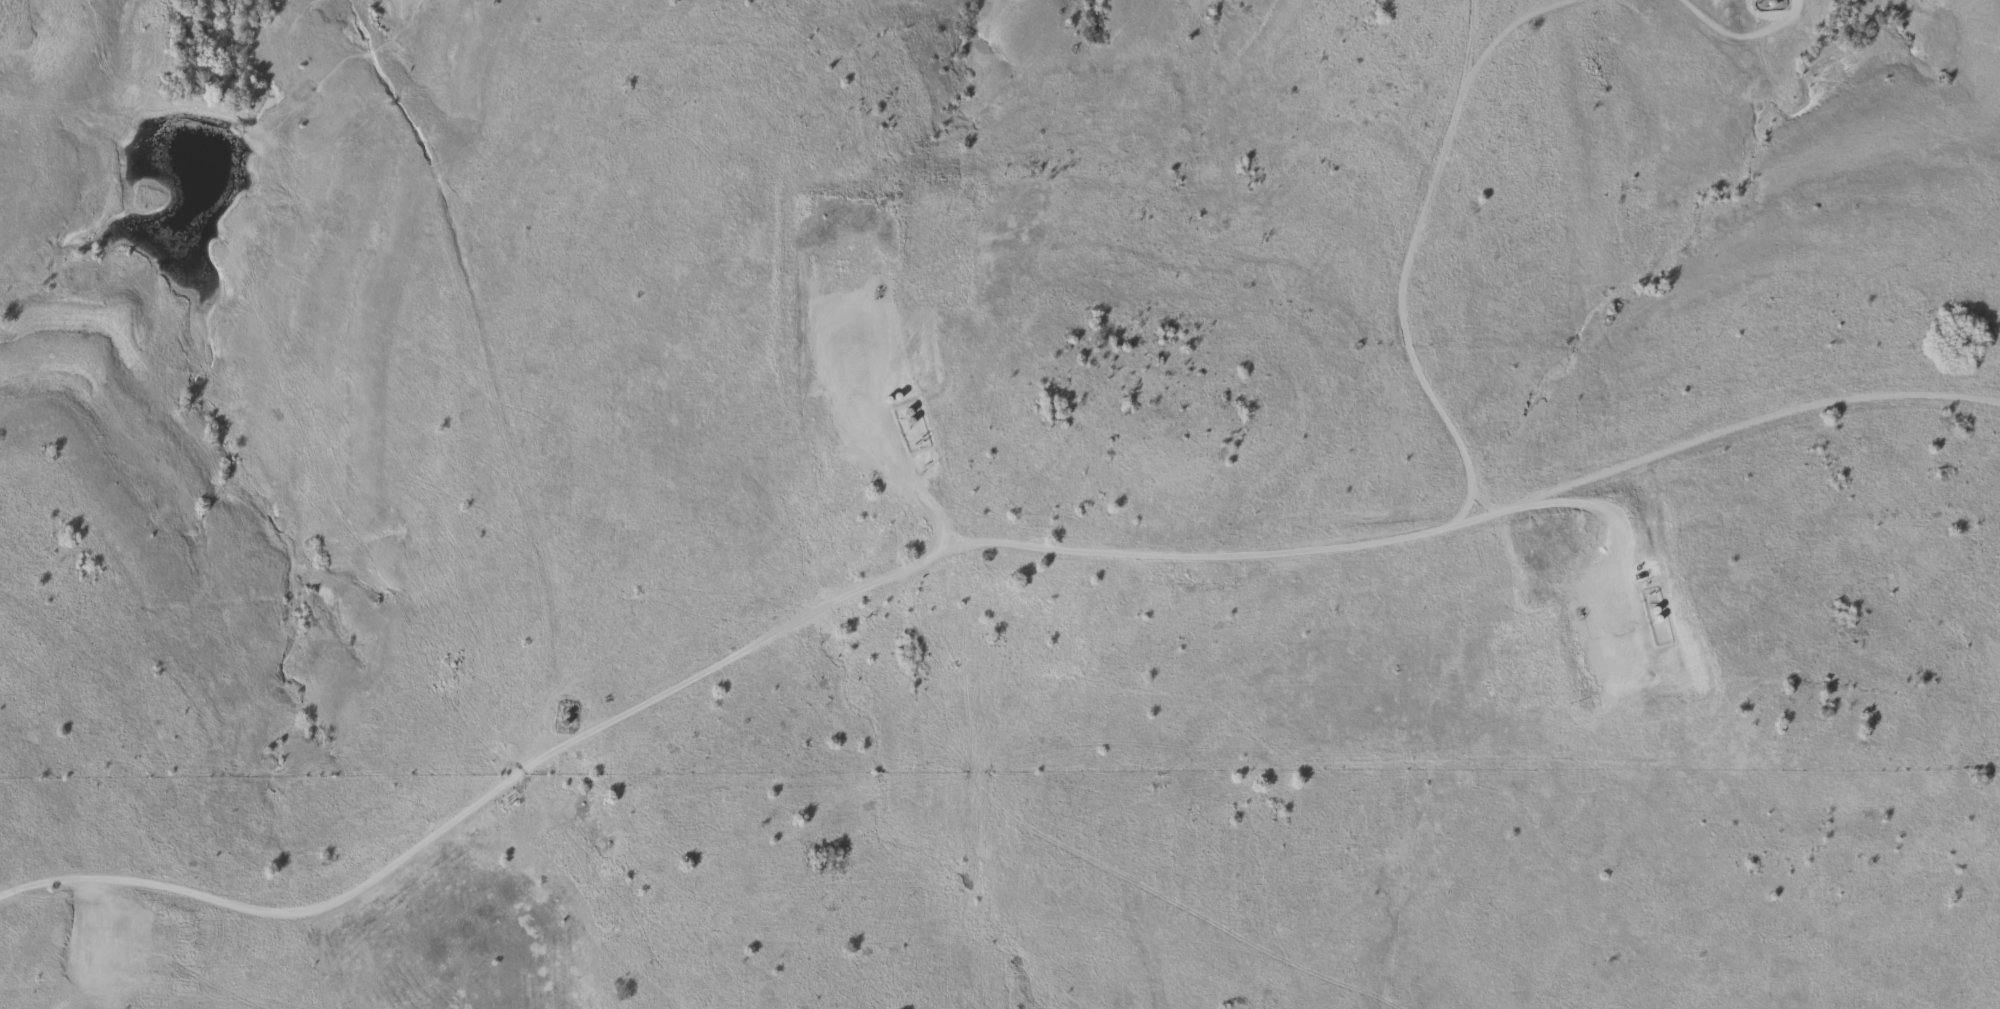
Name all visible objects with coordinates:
building: (1759, 6)
road: (1735, 38)
road: (983, 544)

